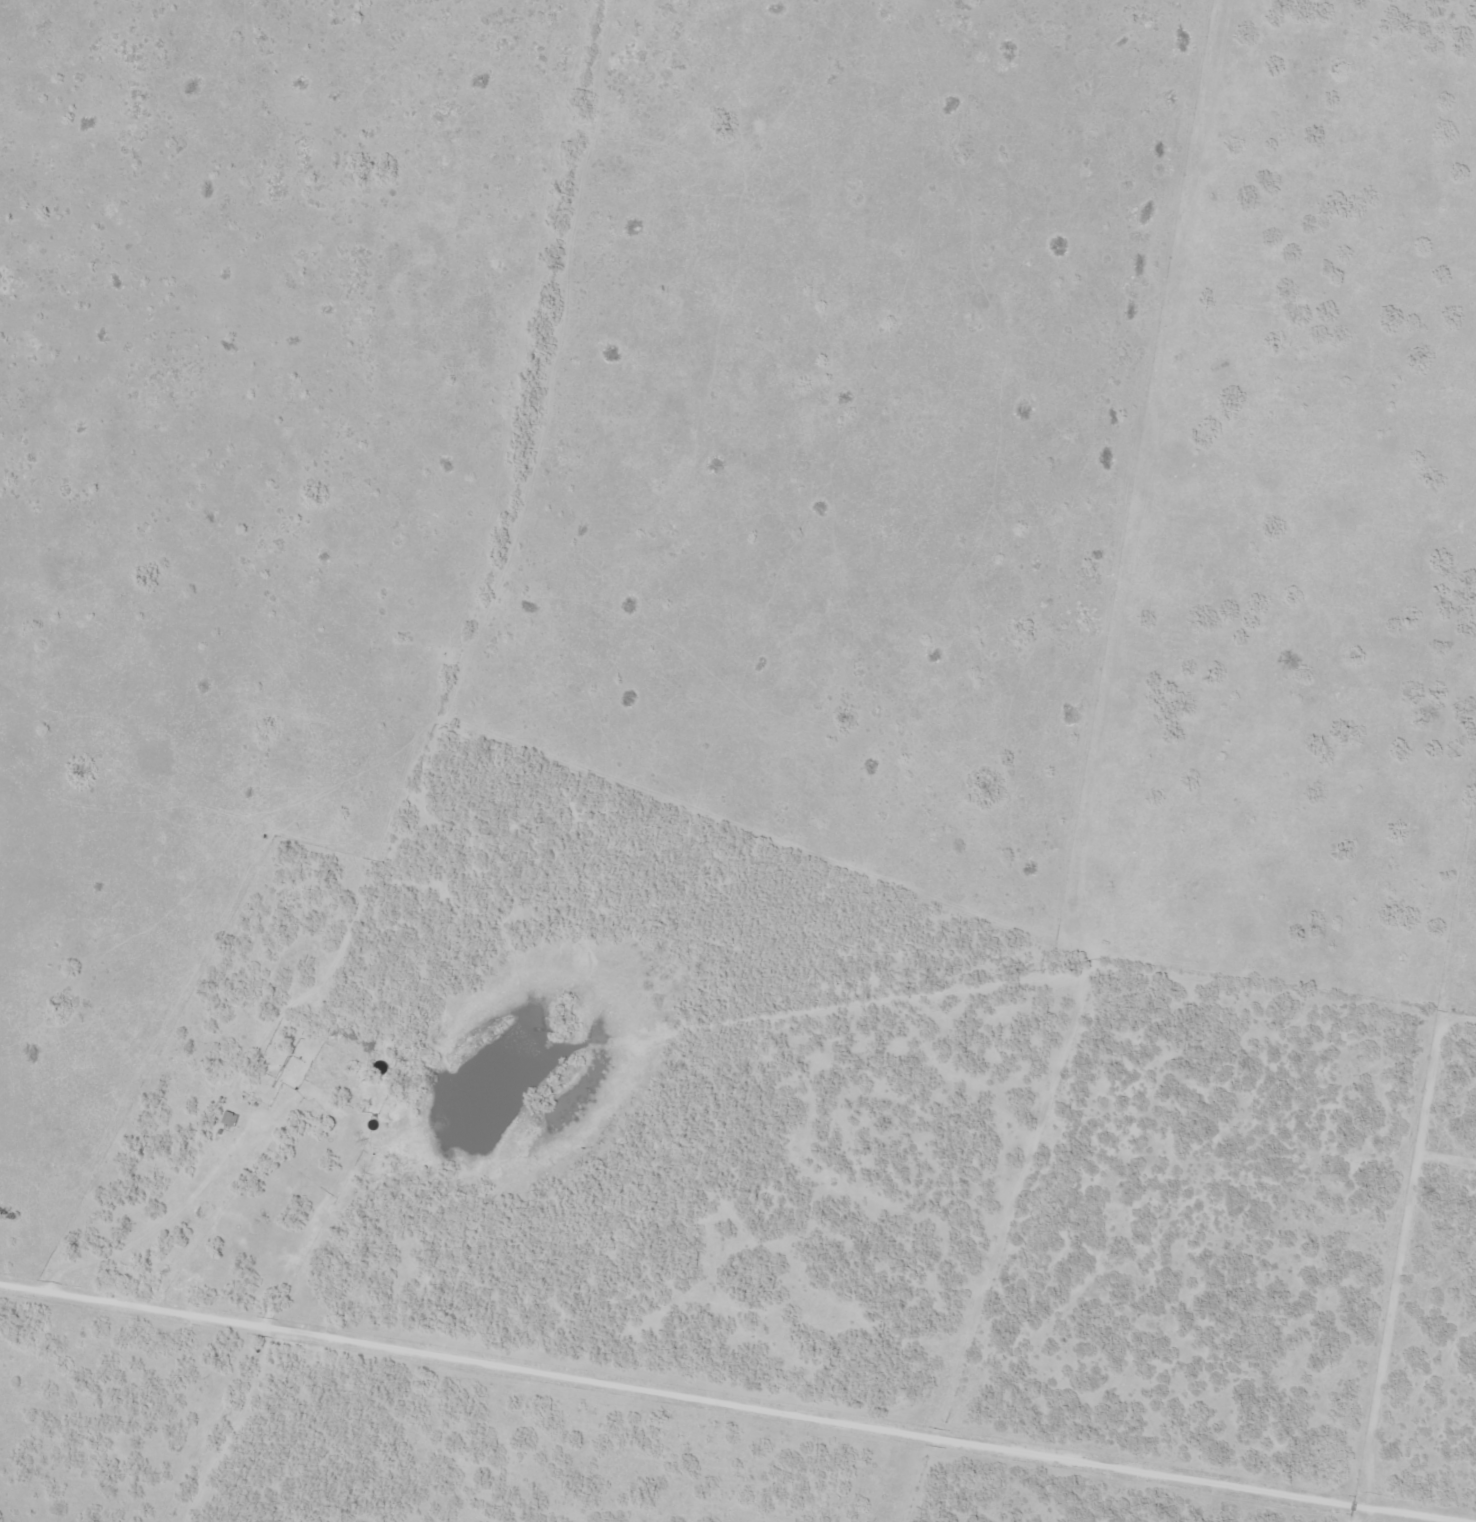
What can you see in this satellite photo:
building: (227, 1119)

